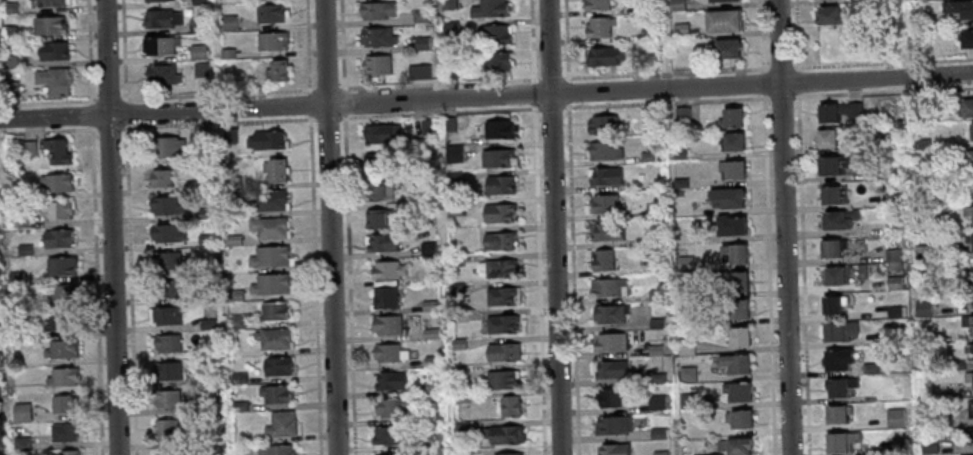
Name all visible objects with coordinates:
building: (155, 0)
building: (582, 0)
building: (718, 0)
building: (198, 2)
building: (50, 3)
building: (447, 4)
building: (595, 4)
building: (675, 5)
building: (641, 6)
building: (7, 7)
building: (958, 7)
building: (489, 9)
building: (375, 10)
building: (269, 13)
building: (829, 13)
building: (419, 16)
building: (161, 18)
building: (916, 18)
building: (884, 19)
building: (722, 20)
building: (227, 23)
building: (48, 25)
building: (197, 25)
building: (598, 26)
building: (449, 29)
building: (680, 30)
building: (7, 33)
building: (492, 34)
building: (646, 35)
building: (376, 37)
building: (966, 37)
road: (566, 40)
building: (271, 41)
road: (531, 41)
building: (421, 43)
building: (160, 45)
road: (342, 45)
building: (725, 47)
building: (914, 47)
building: (52, 51)
building: (196, 52)
building: (226, 53)
building: (603, 56)
building: (493, 60)
building: (8, 61)
road: (884, 61)
building: (650, 62)
building: (375, 64)
road: (780, 66)
building: (200, 69)
building: (276, 70)
building: (418, 72)
building: (450, 72)
road: (666, 72)
building: (162, 74)
road: (552, 78)
building: (53, 81)
road: (439, 83)
road: (327, 88)
building: (9, 89)
road: (568, 91)
road: (884, 91)
road: (217, 93)
road: (533, 93)
road: (781, 96)
road: (486, 97)
road: (107, 98)
road: (47, 100)
road: (665, 101)
road: (344, 102)
road: (550, 106)
building: (916, 106)
building: (965, 106)
road: (439, 111)
building: (836, 111)
building: (681, 114)
building: (649, 116)
road: (327, 117)
building: (730, 117)
road: (219, 122)
building: (448, 124)
building: (603, 124)
road: (109, 127)
building: (425, 127)
road: (46, 129)
building: (495, 129)
building: (971, 129)
building: (380, 133)
building: (229, 135)
building: (203, 136)
building: (825, 137)
building: (266, 140)
building: (731, 140)
building: (888, 144)
building: (921, 144)
building: (164, 146)
building: (27, 149)
building: (604, 150)
building: (56, 151)
building: (453, 153)
building: (679, 155)
building: (647, 157)
building: (497, 158)
building: (967, 159)
building: (378, 160)
building: (833, 164)
building: (731, 168)
building: (275, 169)
building: (921, 170)
building: (890, 171)
building: (603, 175)
building: (160, 178)
building: (424, 178)
building: (452, 178)
building: (56, 182)
building: (679, 183)
building: (234, 184)
building: (972, 184)
building: (202, 185)
building: (499, 185)
building: (378, 191)
building: (13, 194)
building: (831, 194)
building: (727, 197)
building: (270, 199)
building: (891, 200)
building: (606, 203)
building: (165, 205)
building: (453, 208)
building: (57, 209)
building: (652, 210)
building: (967, 211)
building: (498, 212)
building: (204, 213)
building: (378, 219)
building: (837, 219)
building: (424, 221)
building: (21, 222)
building: (731, 224)
building: (269, 226)
road: (95, 227)
road: (110, 227)
road: (129, 227)
road: (313, 227)
road: (329, 227)
road: (553, 227)
road: (783, 227)
building: (605, 231)
building: (166, 233)
building: (57, 238)
building: (205, 239)
building: (651, 239)
building: (969, 239)
building: (233, 240)
building: (498, 240)
building: (382, 242)
building: (831, 247)
building: (426, 248)
building: (24, 249)
building: (920, 252)
building: (732, 253)
building: (891, 255)
building: (270, 257)
building: (602, 259)
building: (167, 261)
building: (454, 261)
building: (684, 263)
building: (60, 266)
building: (653, 267)
building: (499, 268)
building: (387, 270)
building: (972, 273)
building: (835, 275)
building: (14, 277)
road: (573, 278)
road: (539, 279)
building: (738, 281)
building: (893, 282)
building: (271, 284)
road: (349, 284)
building: (608, 287)
building: (166, 288)
building: (454, 288)
building: (683, 291)
building: (60, 292)
building: (968, 294)
building: (234, 295)
building: (500, 295)
building: (655, 295)
building: (207, 297)
building: (383, 297)
building: (830, 303)
building: (428, 306)
building: (922, 307)
building: (738, 308)
building: (274, 311)
building: (893, 312)
building: (609, 313)
building: (166, 315)
building: (693, 318)
building: (59, 320)
building: (236, 321)
building: (967, 322)
building: (500, 323)
building: (656, 323)
building: (206, 324)
building: (386, 324)
building: (837, 331)
building: (429, 334)
building: (736, 335)
building: (893, 336)
building: (273, 338)
building: (610, 341)
building: (166, 342)
building: (457, 343)
building: (685, 346)
building: (968, 347)
building: (60, 349)
building: (654, 350)
building: (385, 352)
building: (502, 352)
building: (836, 359)
building: (430, 361)
building: (0, 362)
building: (735, 363)
building: (955, 364)
building: (277, 365)
building: (869, 368)
building: (611, 369)
building: (166, 370)
building: (456, 372)
building: (686, 374)
building: (62, 376)
building: (968, 377)
building: (238, 378)
building: (657, 378)
building: (500, 379)
building: (390, 381)
building: (839, 386)
building: (430, 387)
building: (737, 391)
building: (276, 394)
building: (609, 397)
building: (165, 398)
building: (460, 398)
building: (687, 400)
building: (656, 402)
building: (63, 404)
building: (238, 406)
building: (509, 406)
building: (391, 407)
building: (969, 407)
building: (21, 412)
building: (836, 413)
building: (893, 417)
building: (738, 418)
building: (200, 424)
building: (280, 424)
building: (612, 425)
building: (460, 426)
building: (166, 429)
building: (63, 432)
building: (657, 433)
building: (501, 434)
building: (968, 434)
building: (389, 435)
building: (839, 440)
building: (20, 443)
building: (735, 445)
building: (897, 445)
building: (0, 449)
building: (614, 449)
building: (276, 450)
building: (461, 451)
building: (68, 452)
building: (167, 453)
building: (659, 453)
building: (402, 454)
building: (507, 454)
building: (711, 454)
building: (967, 454)

